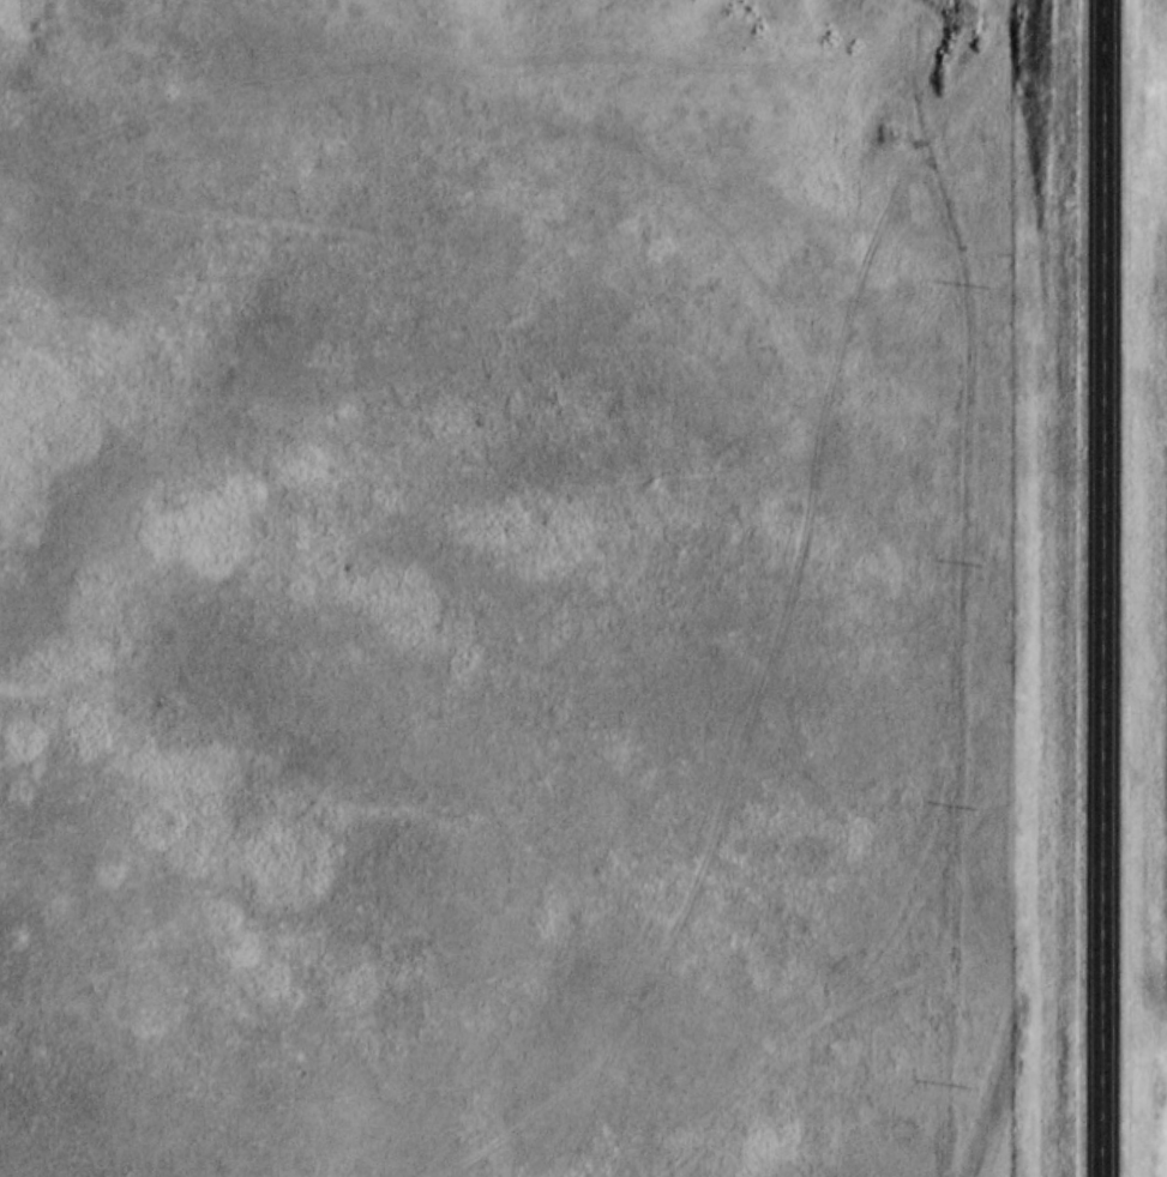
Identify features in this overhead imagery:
road: (1106, 588)

